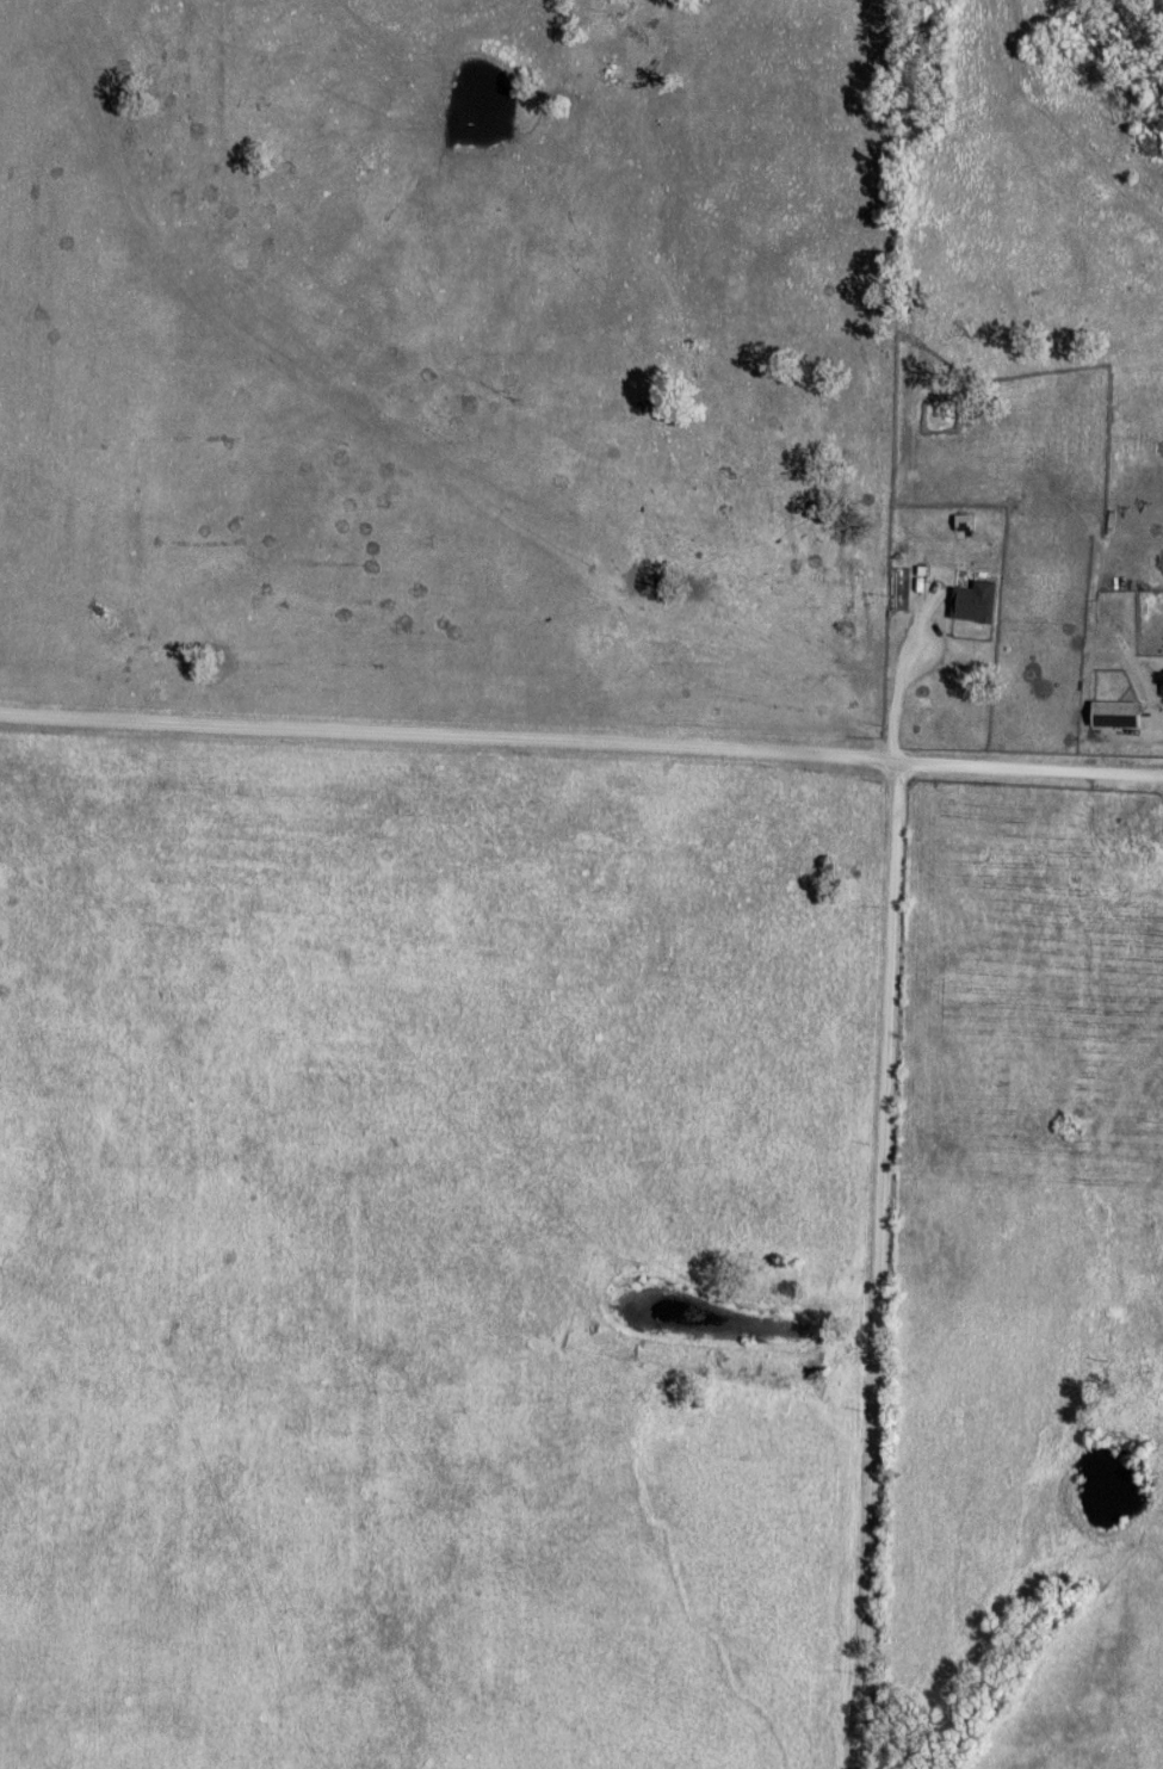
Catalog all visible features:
road: (599, 330)
building: (976, 600)
road: (904, 674)
building: (1116, 712)
road: (581, 736)
road: (877, 1261)

